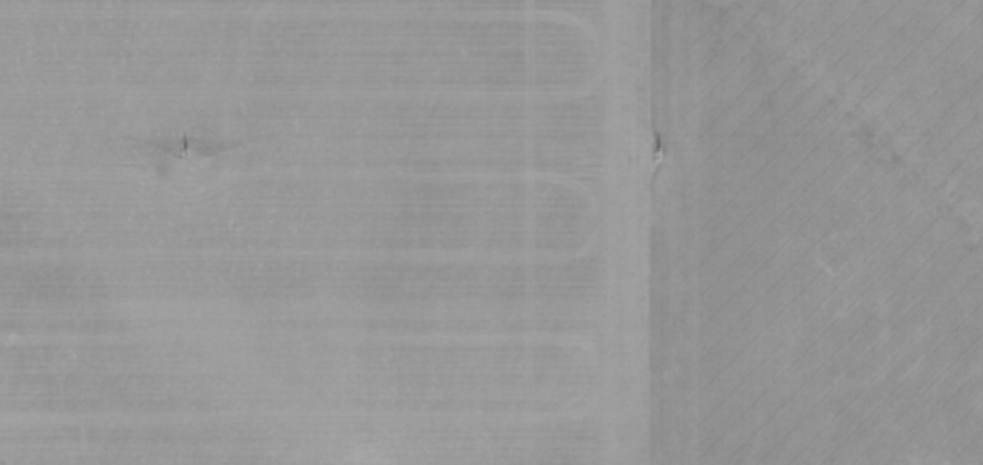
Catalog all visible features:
power tower: (182, 152)
power tower: (655, 155)
crop: (491, 232)

